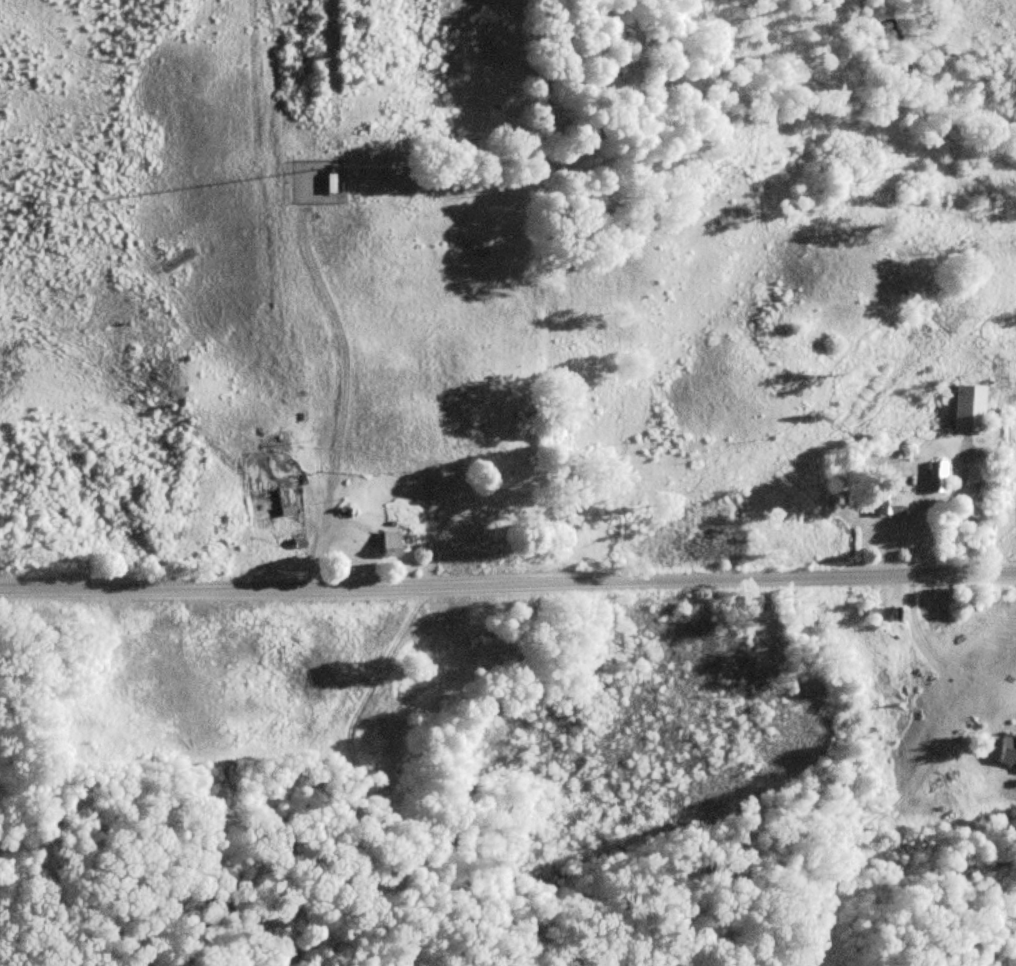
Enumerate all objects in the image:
building: (329, 182)
building: (967, 409)
building: (935, 477)
building: (891, 502)
road: (339, 520)
building: (389, 542)
road: (508, 583)
building: (1008, 748)

